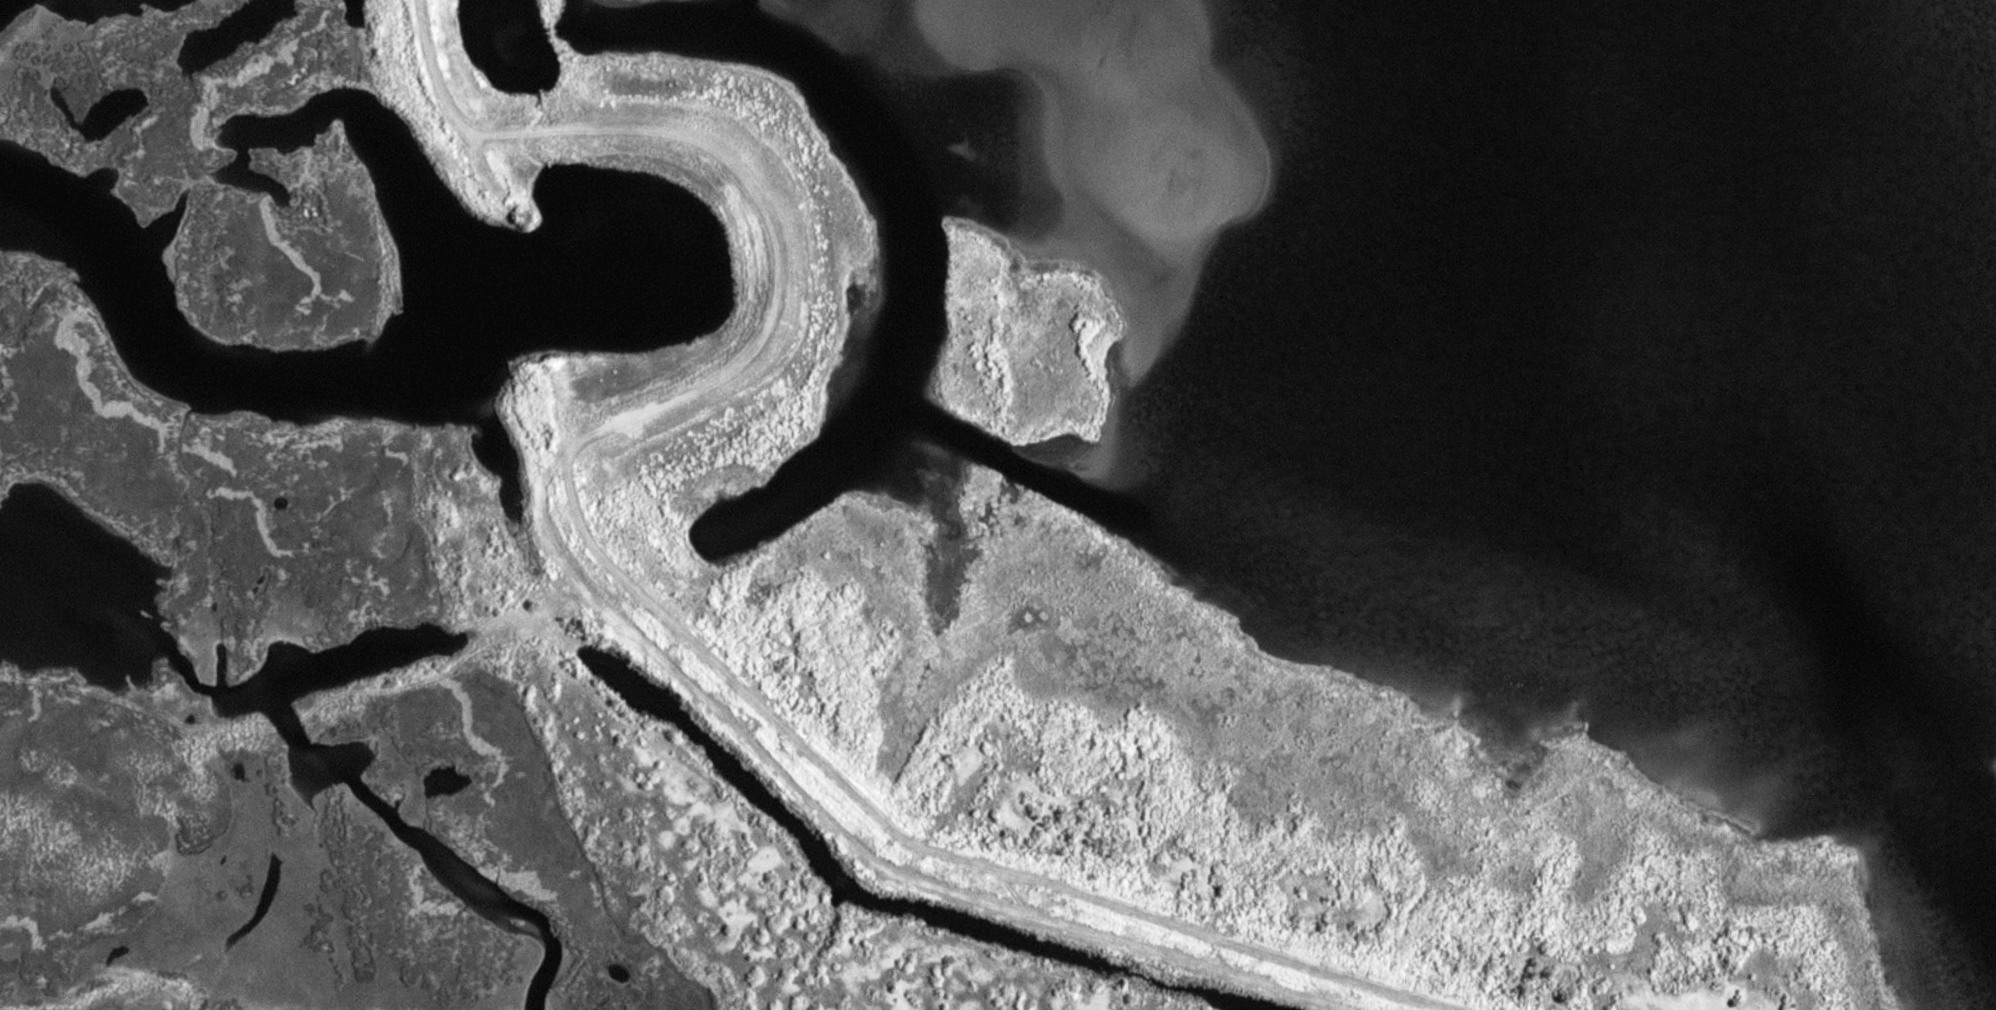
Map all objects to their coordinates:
road: (586, 536)
road: (809, 797)

